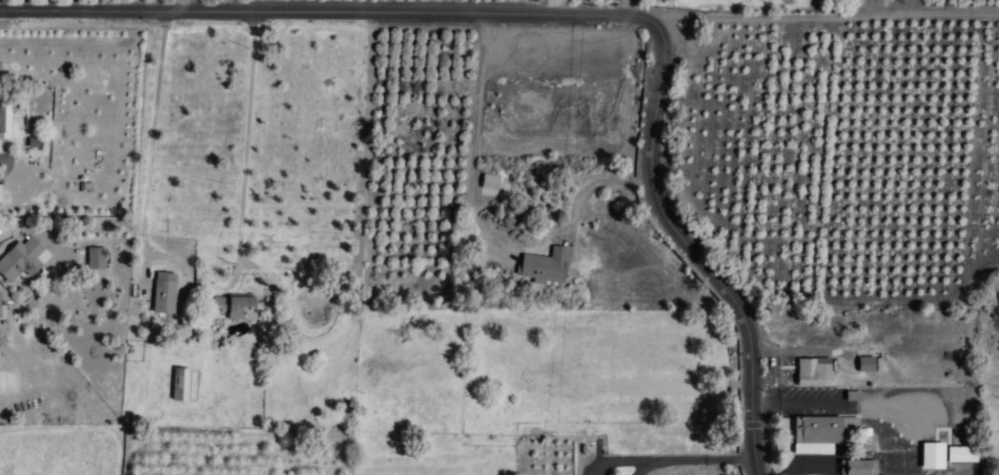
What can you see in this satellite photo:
road: (561, 18)
road: (826, 50)
building: (2, 121)
road: (476, 137)
crop: (565, 138)
road: (246, 148)
building: (489, 182)
building: (23, 259)
building: (546, 266)
building: (164, 293)
building: (236, 307)
building: (0, 316)
building: (866, 365)
building: (805, 373)
building: (180, 385)
building: (818, 433)
building: (961, 454)
building: (855, 467)

